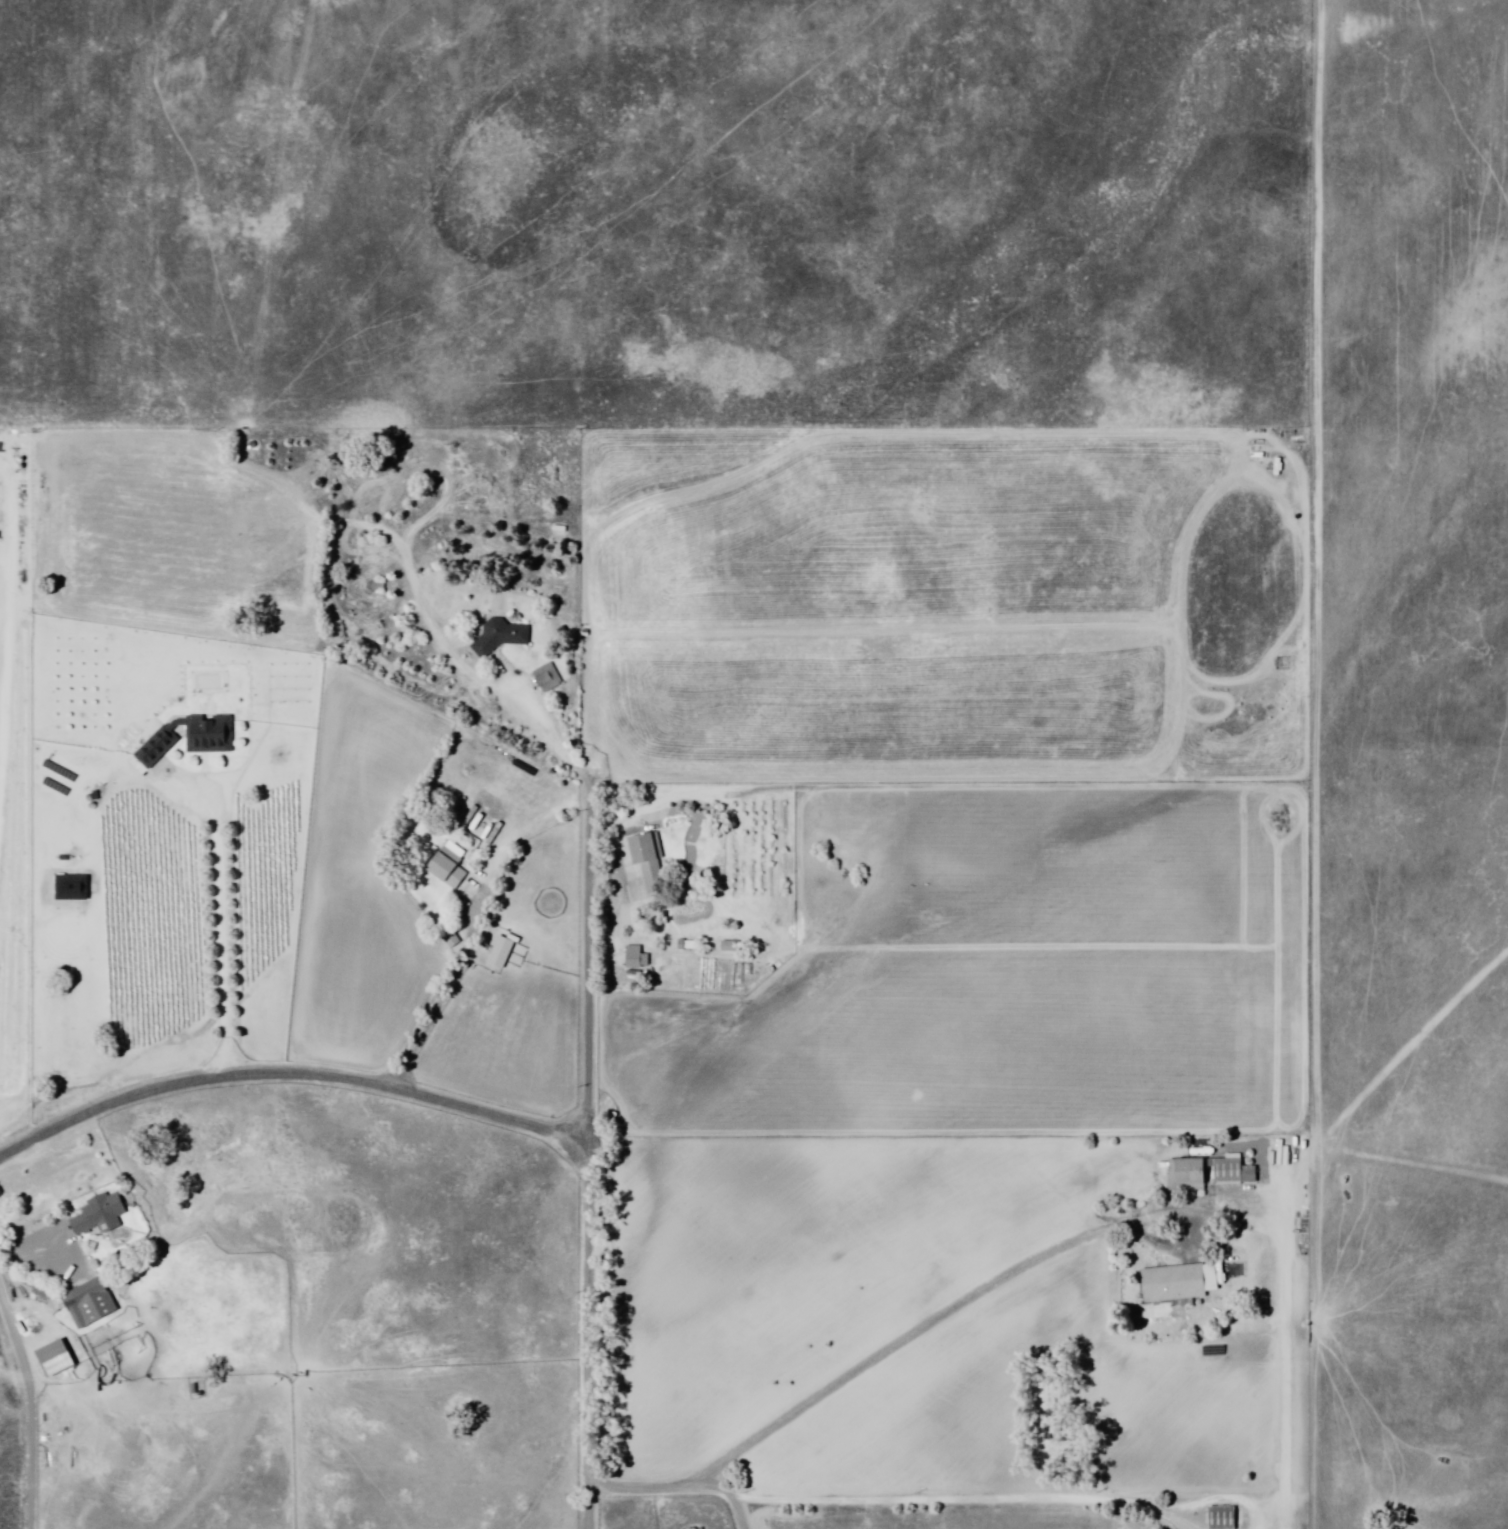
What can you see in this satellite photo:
building: (505, 636)
building: (547, 678)
building: (189, 737)
building: (646, 860)
building: (445, 866)
road: (216, 910)
building: (499, 953)
building: (634, 959)
road: (584, 972)
airport taxiway: (1398, 1059)
road: (289, 1074)
road: (423, 1082)
airport taxiway: (1411, 1162)
building: (1231, 1172)
building: (1184, 1175)
building: (98, 1215)
building: (1171, 1284)
building: (88, 1304)
road: (963, 1306)
airport runway: (1289, 1352)
building: (53, 1359)
road: (575, 1363)
road: (721, 1493)
building: (1221, 1518)

